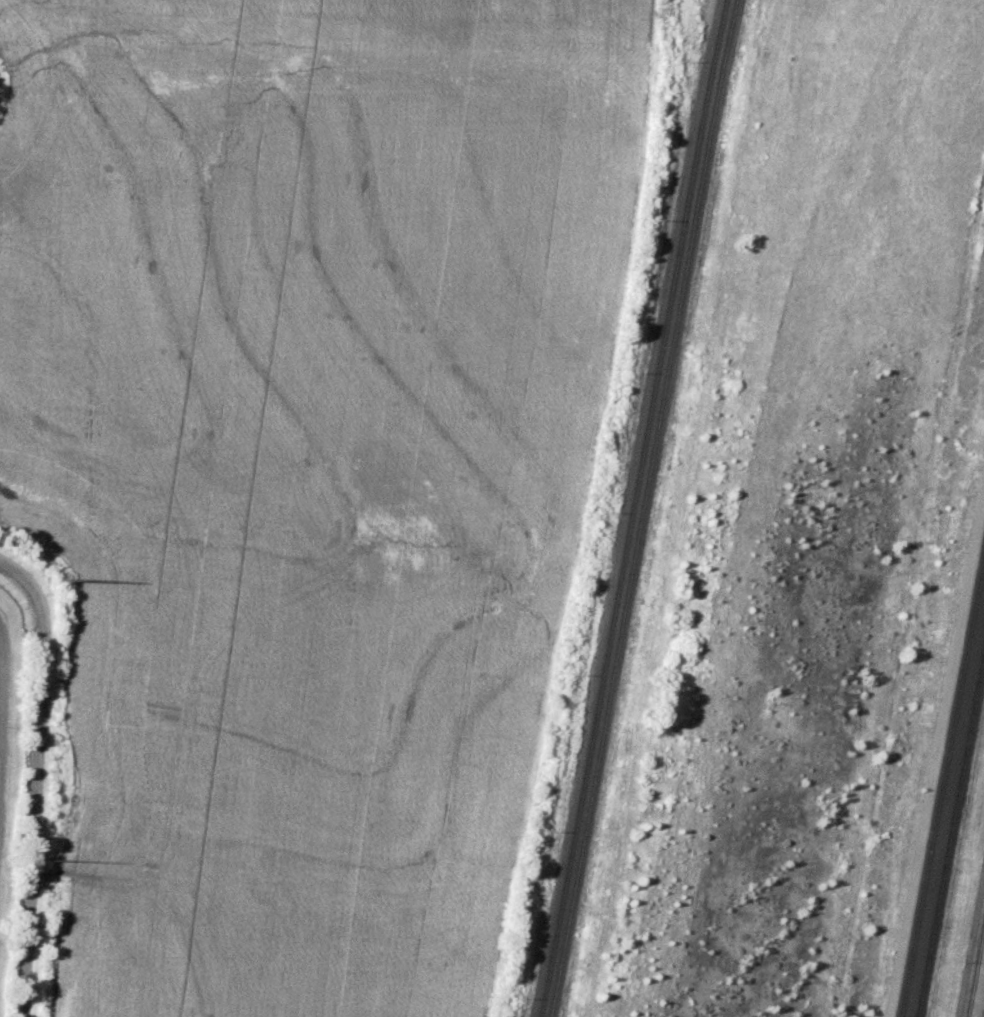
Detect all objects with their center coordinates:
crop: (314, 499)
railway: (633, 508)
railway: (642, 508)
crop: (8, 733)
road: (36, 777)
railway: (951, 837)
railway: (976, 972)

